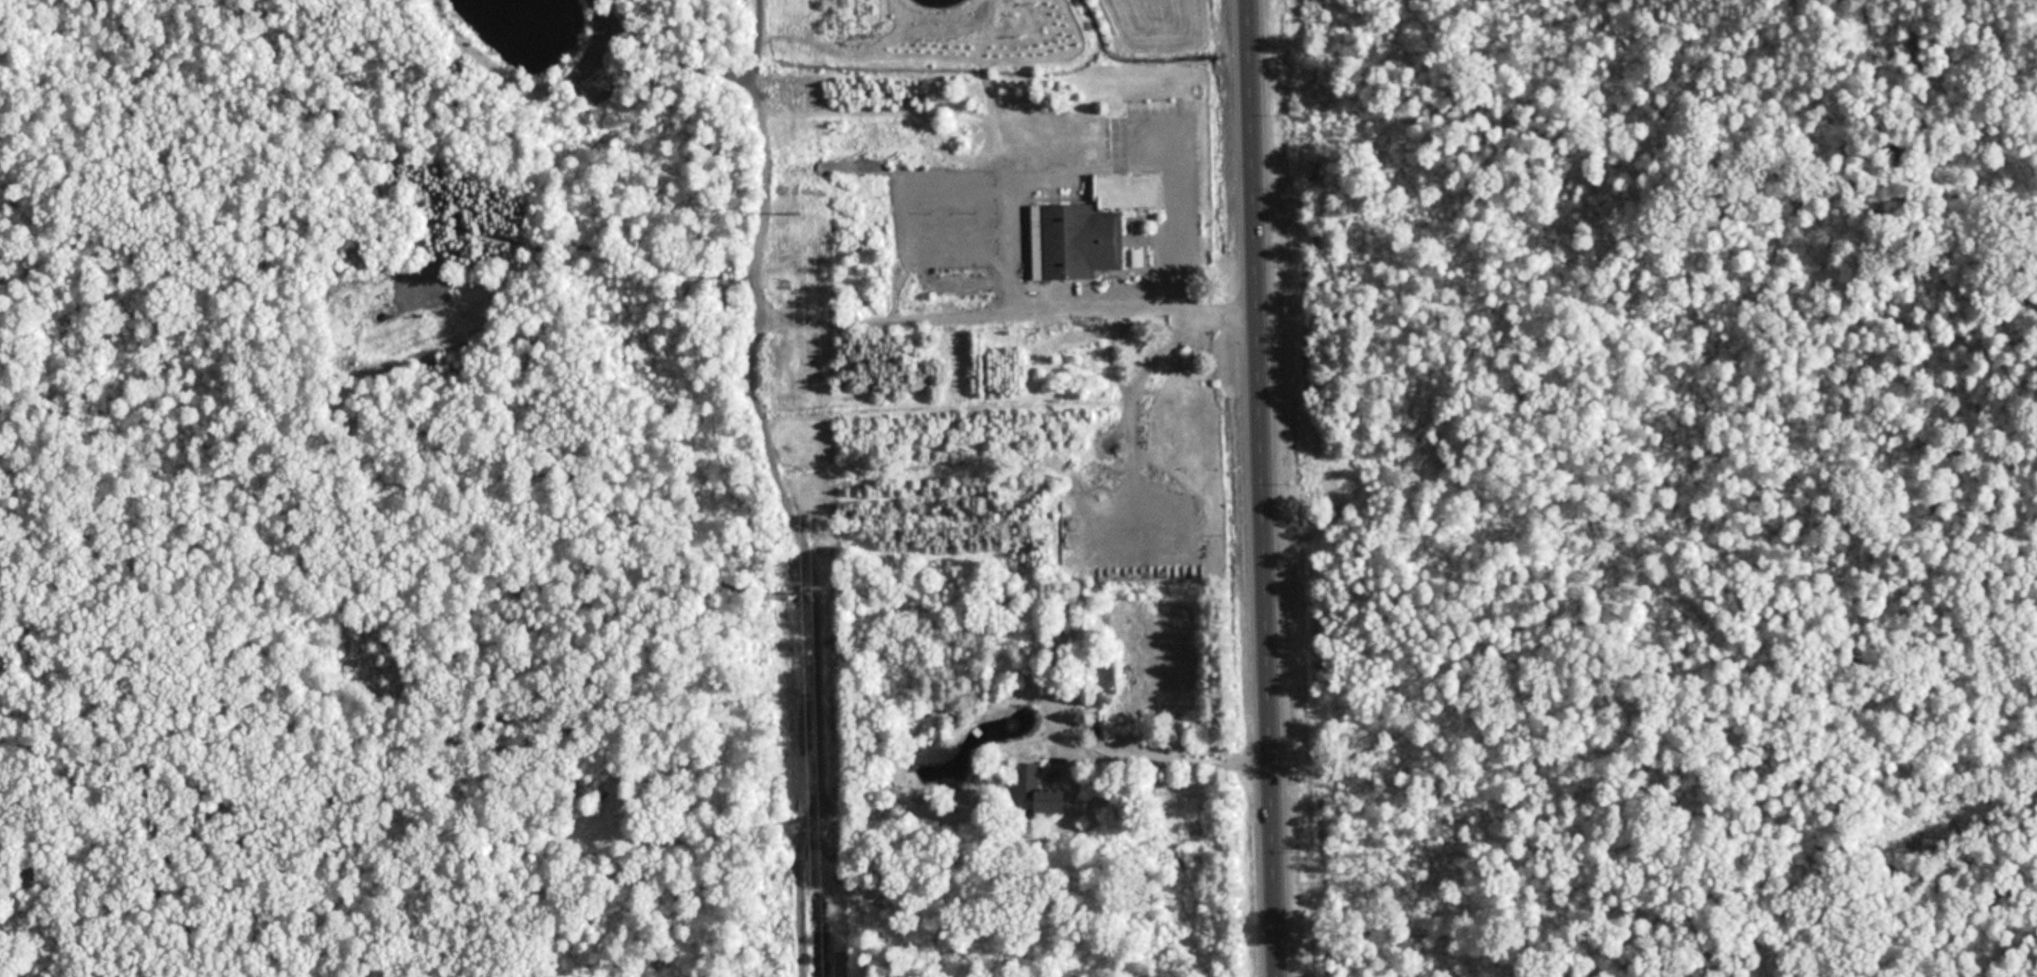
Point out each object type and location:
building: (1118, 134)
power tower: (797, 216)
building: (1075, 240)
road: (818, 313)
park: (1647, 485)
road: (1262, 488)
park: (162, 495)
power tower: (806, 595)
road: (1157, 758)
building: (1038, 791)

